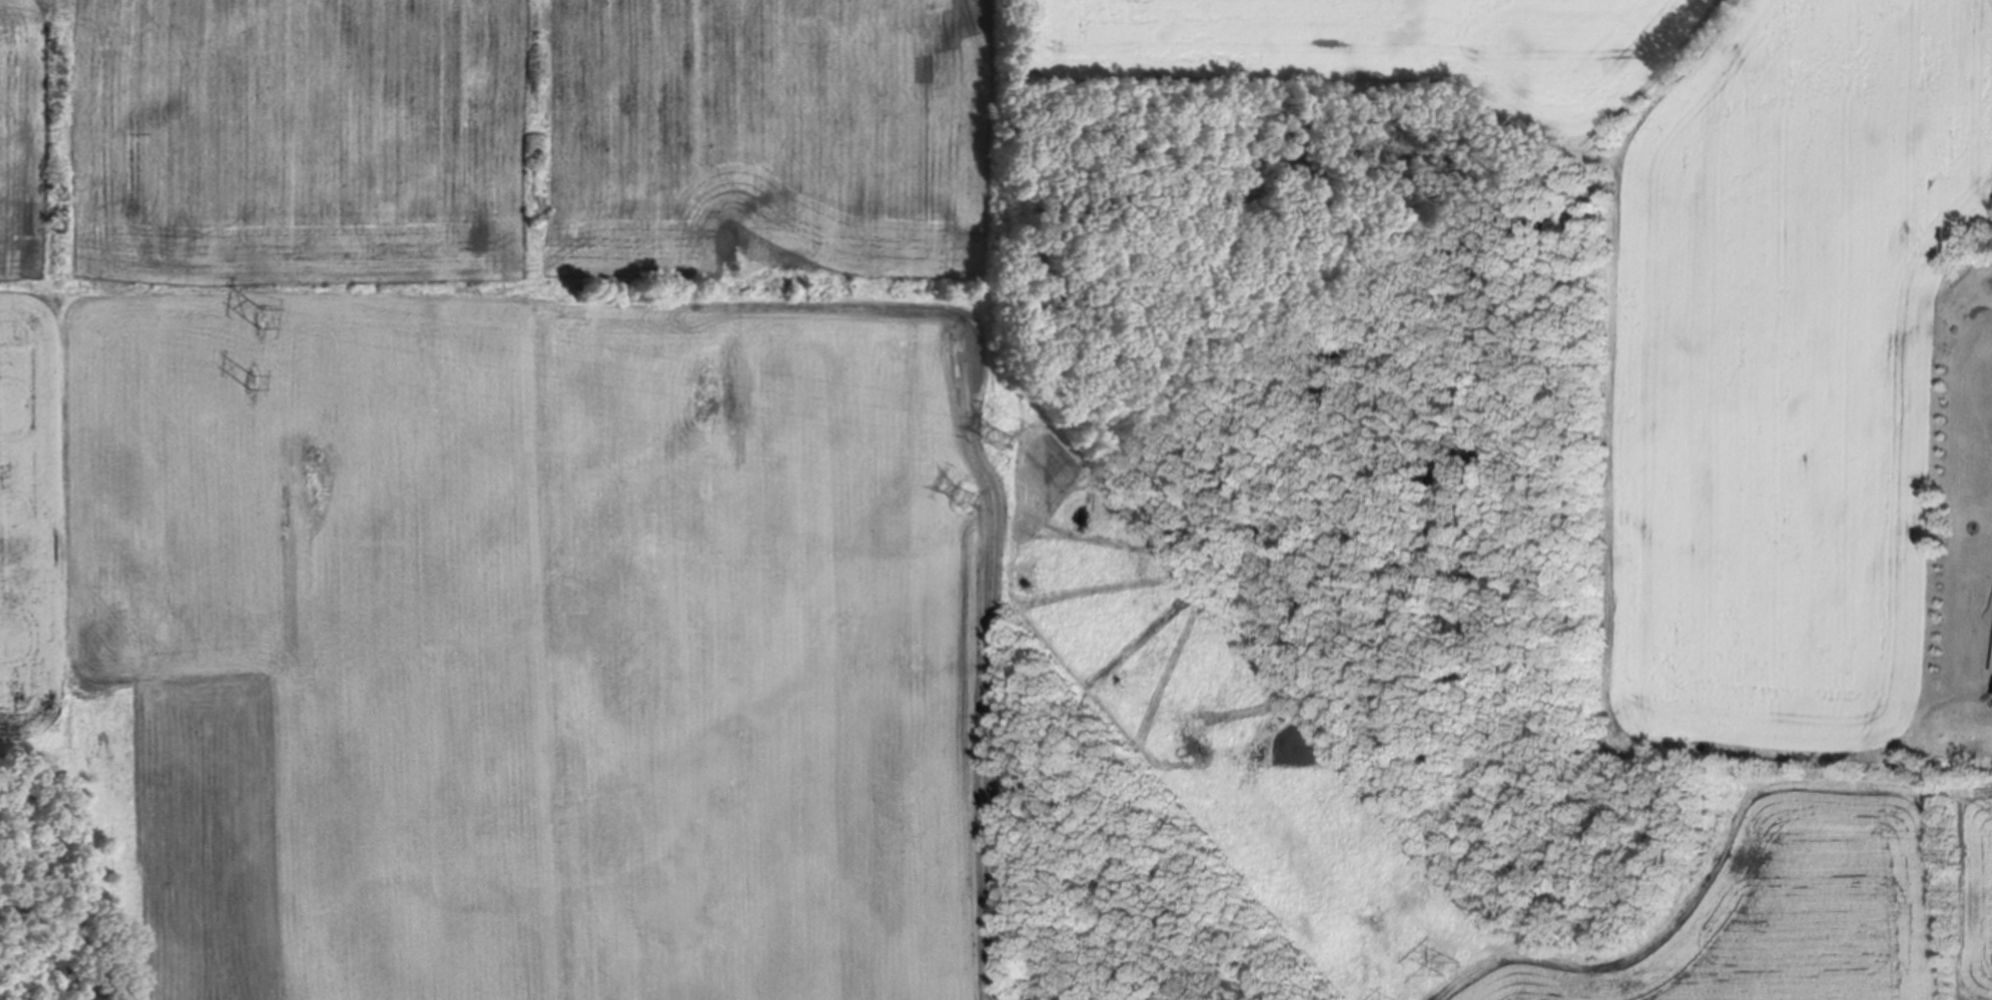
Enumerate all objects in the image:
power tower: (258, 319)
power tower: (248, 381)
power tower: (994, 440)
power tower: (970, 500)
power tower: (1453, 967)

